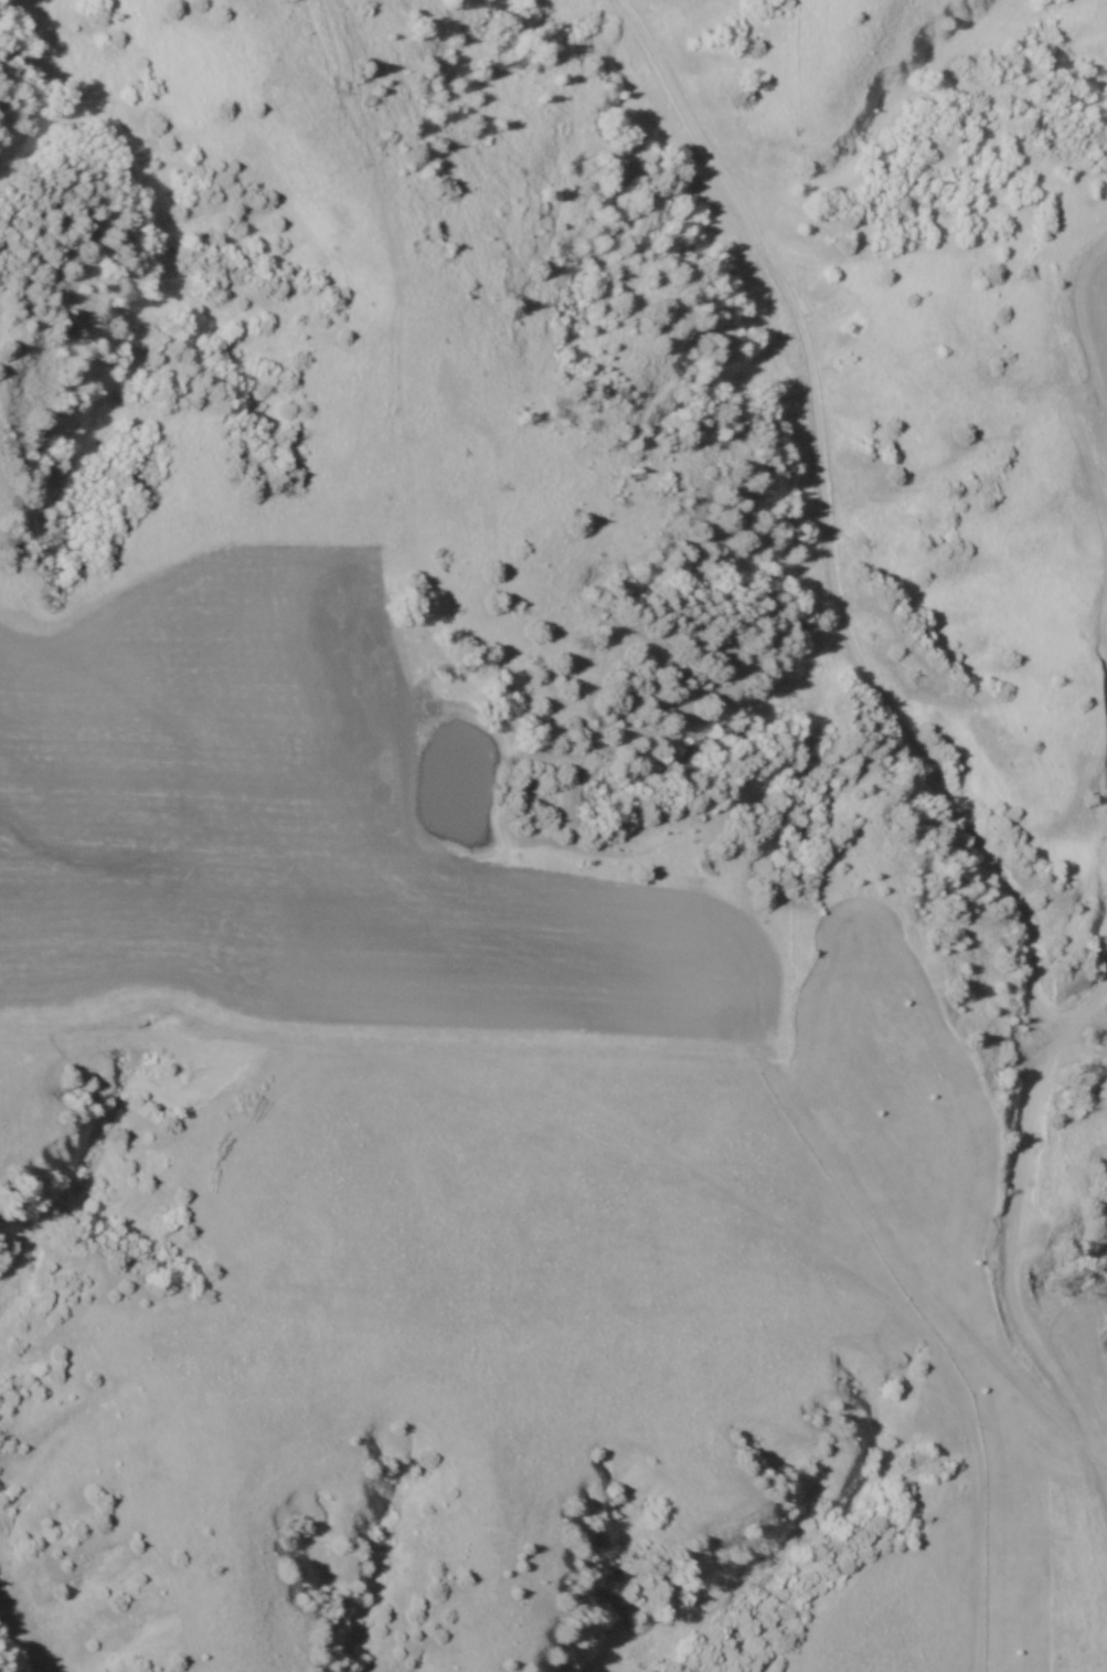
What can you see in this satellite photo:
road: (898, 741)

